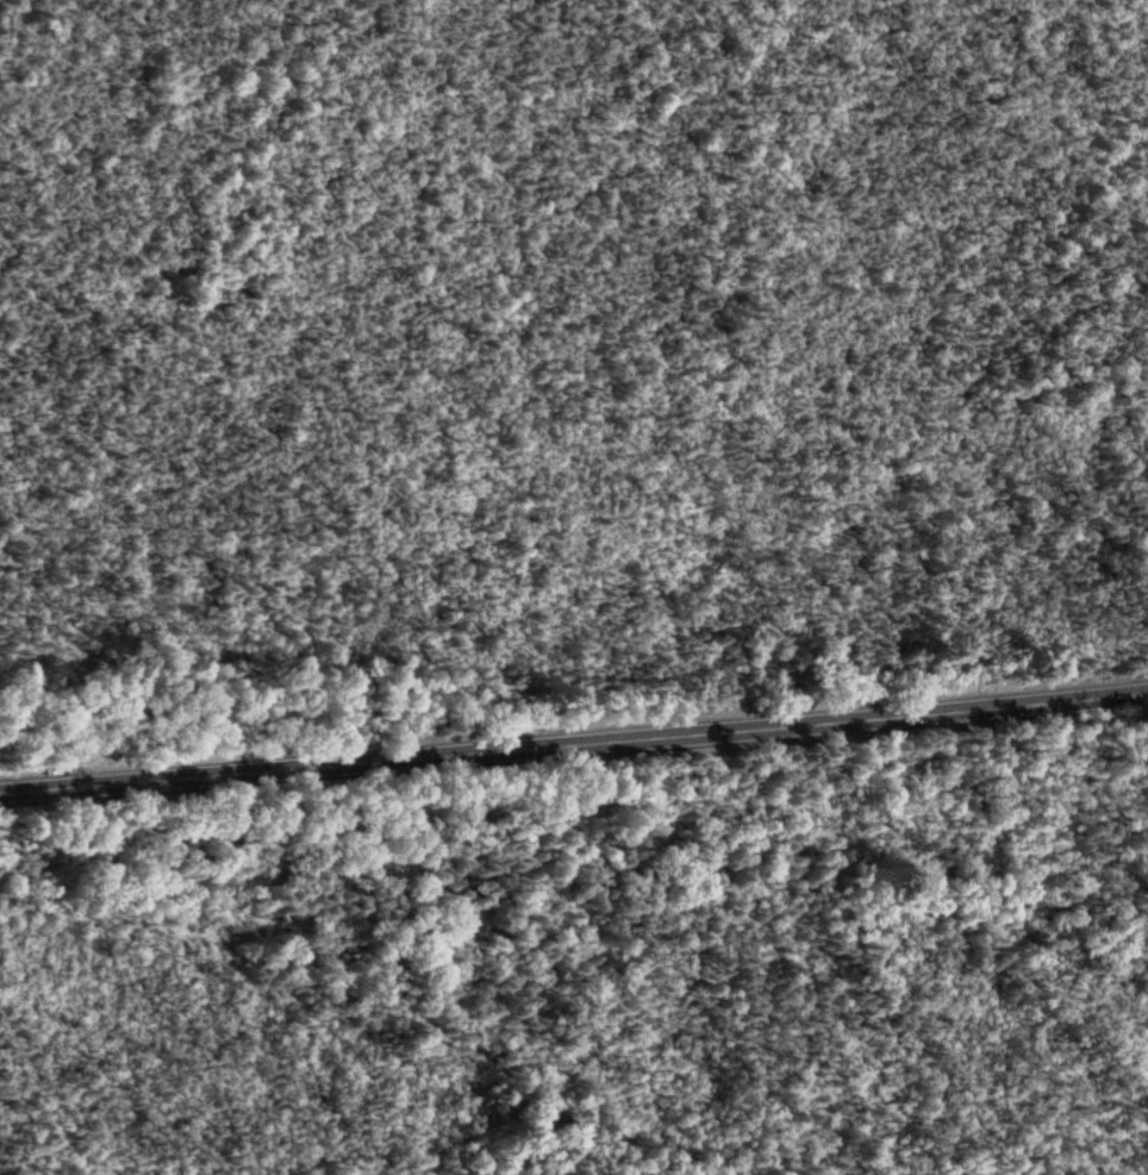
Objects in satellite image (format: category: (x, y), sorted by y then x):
road: (574, 744)

